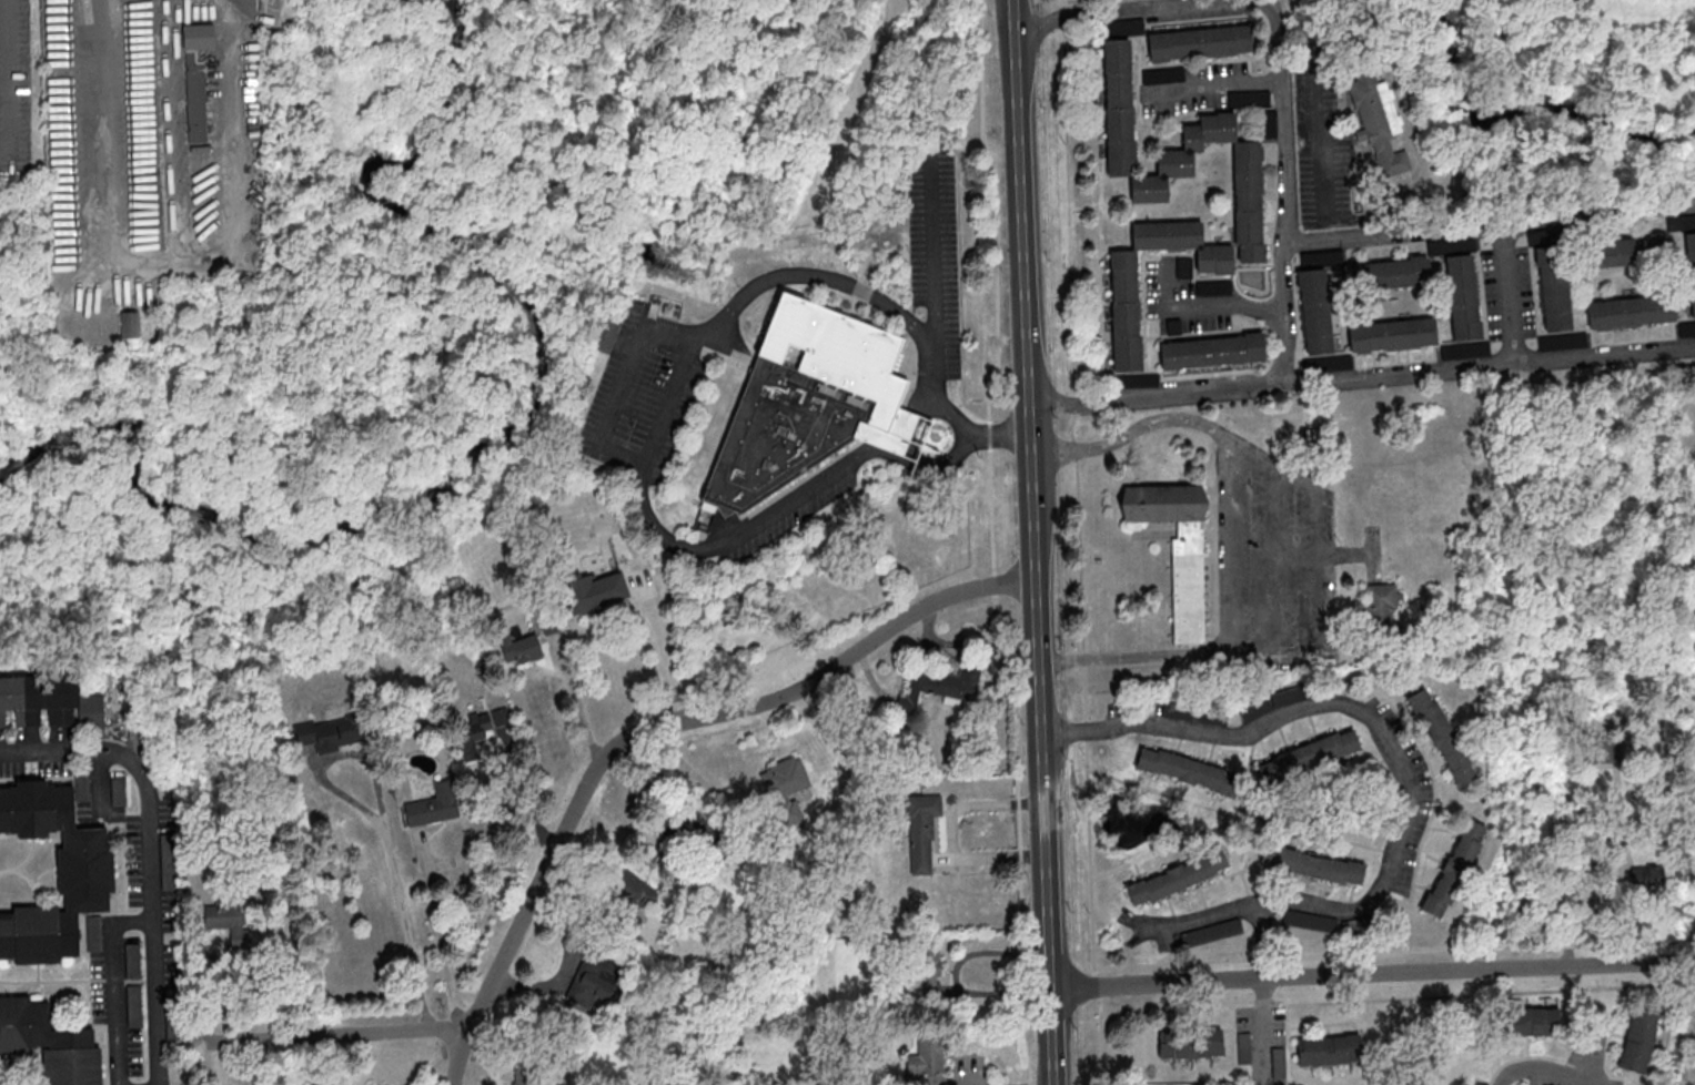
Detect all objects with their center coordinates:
building: (1514, 6)
building: (1201, 42)
road: (1279, 71)
building: (1163, 74)
building: (196, 80)
road: (6, 83)
road: (1218, 83)
road: (1321, 98)
building: (1250, 99)
river: (1519, 107)
building: (1379, 122)
road: (113, 134)
building: (1507, 135)
road: (231, 178)
building: (1149, 191)
road: (1021, 202)
building: (1681, 222)
road: (1490, 224)
building: (1631, 250)
building: (1314, 257)
building: (1691, 268)
building: (1430, 278)
road: (932, 282)
building: (1555, 286)
road: (1512, 293)
road: (1208, 302)
building: (1316, 311)
building: (1631, 311)
building: (129, 324)
road: (718, 326)
building: (1686, 327)
building: (606, 331)
building: (1379, 341)
building: (1564, 341)
building: (1465, 349)
building: (1212, 351)
road: (1490, 365)
road: (1157, 396)
building: (810, 400)
road: (666, 403)
road: (930, 405)
road: (958, 418)
road: (907, 422)
river: (493, 434)
road: (998, 434)
road: (885, 443)
road: (906, 450)
road: (949, 463)
road: (1225, 534)
road: (730, 539)
building: (1177, 547)
road: (1305, 550)
building: (594, 590)
building: (1381, 605)
road: (665, 656)
building: (934, 689)
road: (783, 698)
building: (49, 702)
road: (577, 707)
building: (503, 714)
building: (331, 733)
building: (472, 733)
road: (1388, 736)
building: (1442, 736)
road: (1042, 743)
building: (1600, 747)
road: (75, 750)
building: (1308, 756)
building: (1189, 770)
building: (784, 788)
building: (434, 804)
road: (383, 820)
building: (921, 831)
road: (951, 832)
building: (1312, 864)
building: (1454, 869)
building: (84, 870)
building: (1177, 876)
building: (629, 890)
building: (222, 914)
road: (1189, 921)
building: (1310, 921)
road: (154, 930)
road: (436, 931)
building: (1211, 932)
road: (503, 959)
building: (930, 972)
road: (1372, 974)
building: (592, 982)
road: (113, 985)
building: (1528, 1021)
road: (359, 1032)
road: (1263, 1032)
building: (1638, 1038)
building: (50, 1043)
building: (1190, 1043)
building: (1329, 1049)
road: (1593, 1052)
building: (925, 1059)
building: (1279, 1062)
road: (1544, 1073)
building: (523, 1076)
building: (1481, 1084)

